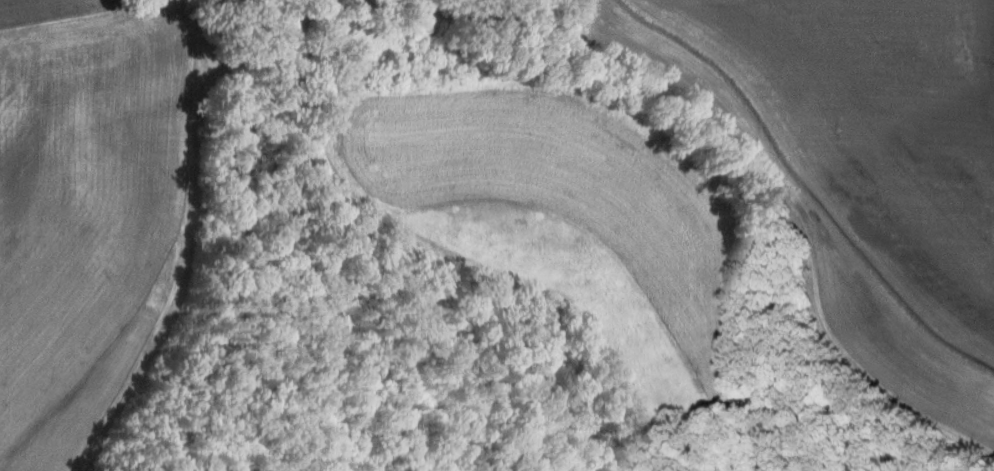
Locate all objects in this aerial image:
road: (478, 19)

